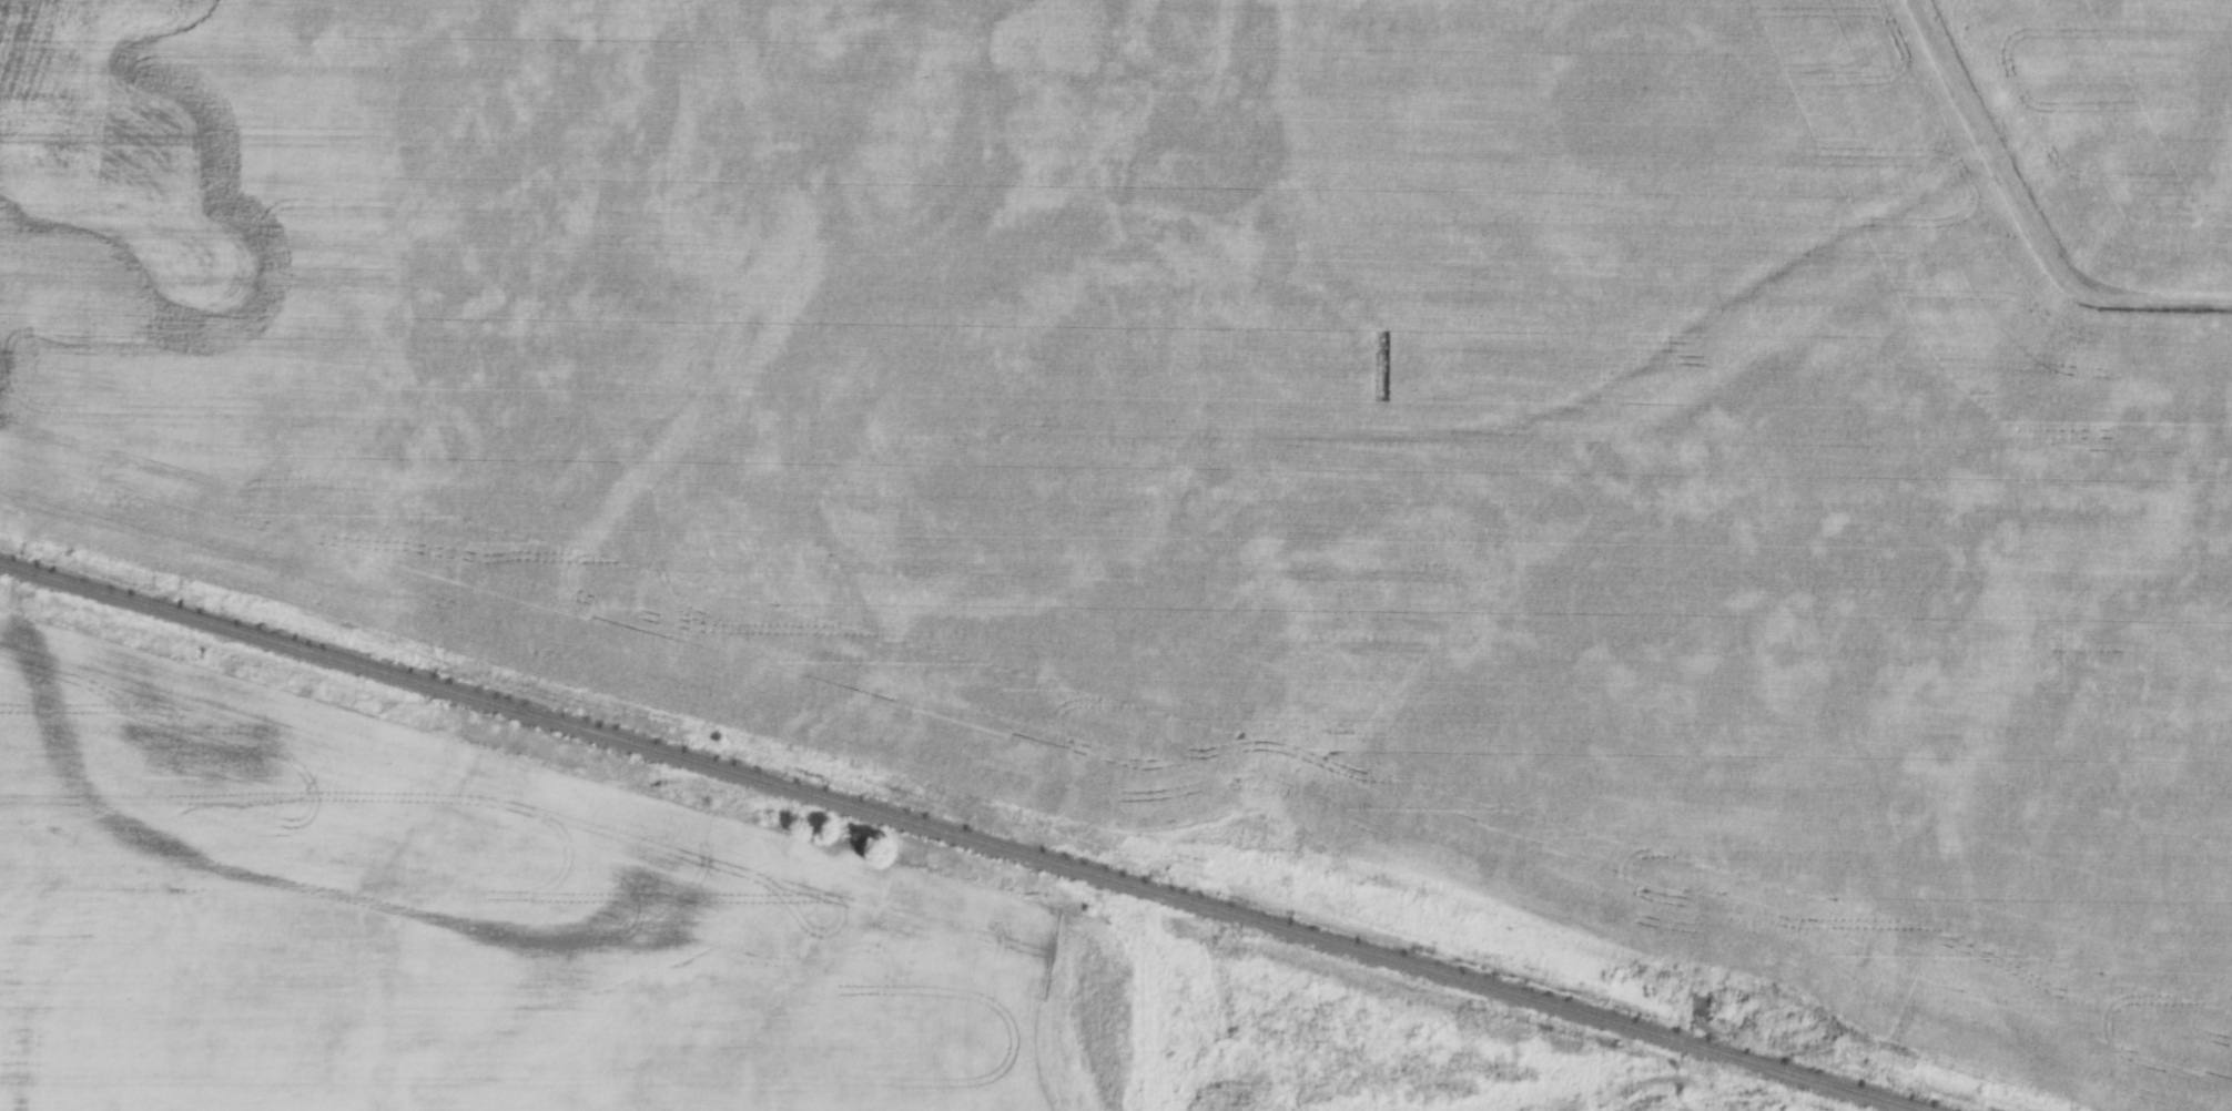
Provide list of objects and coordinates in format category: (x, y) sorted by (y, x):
railway: (965, 836)

